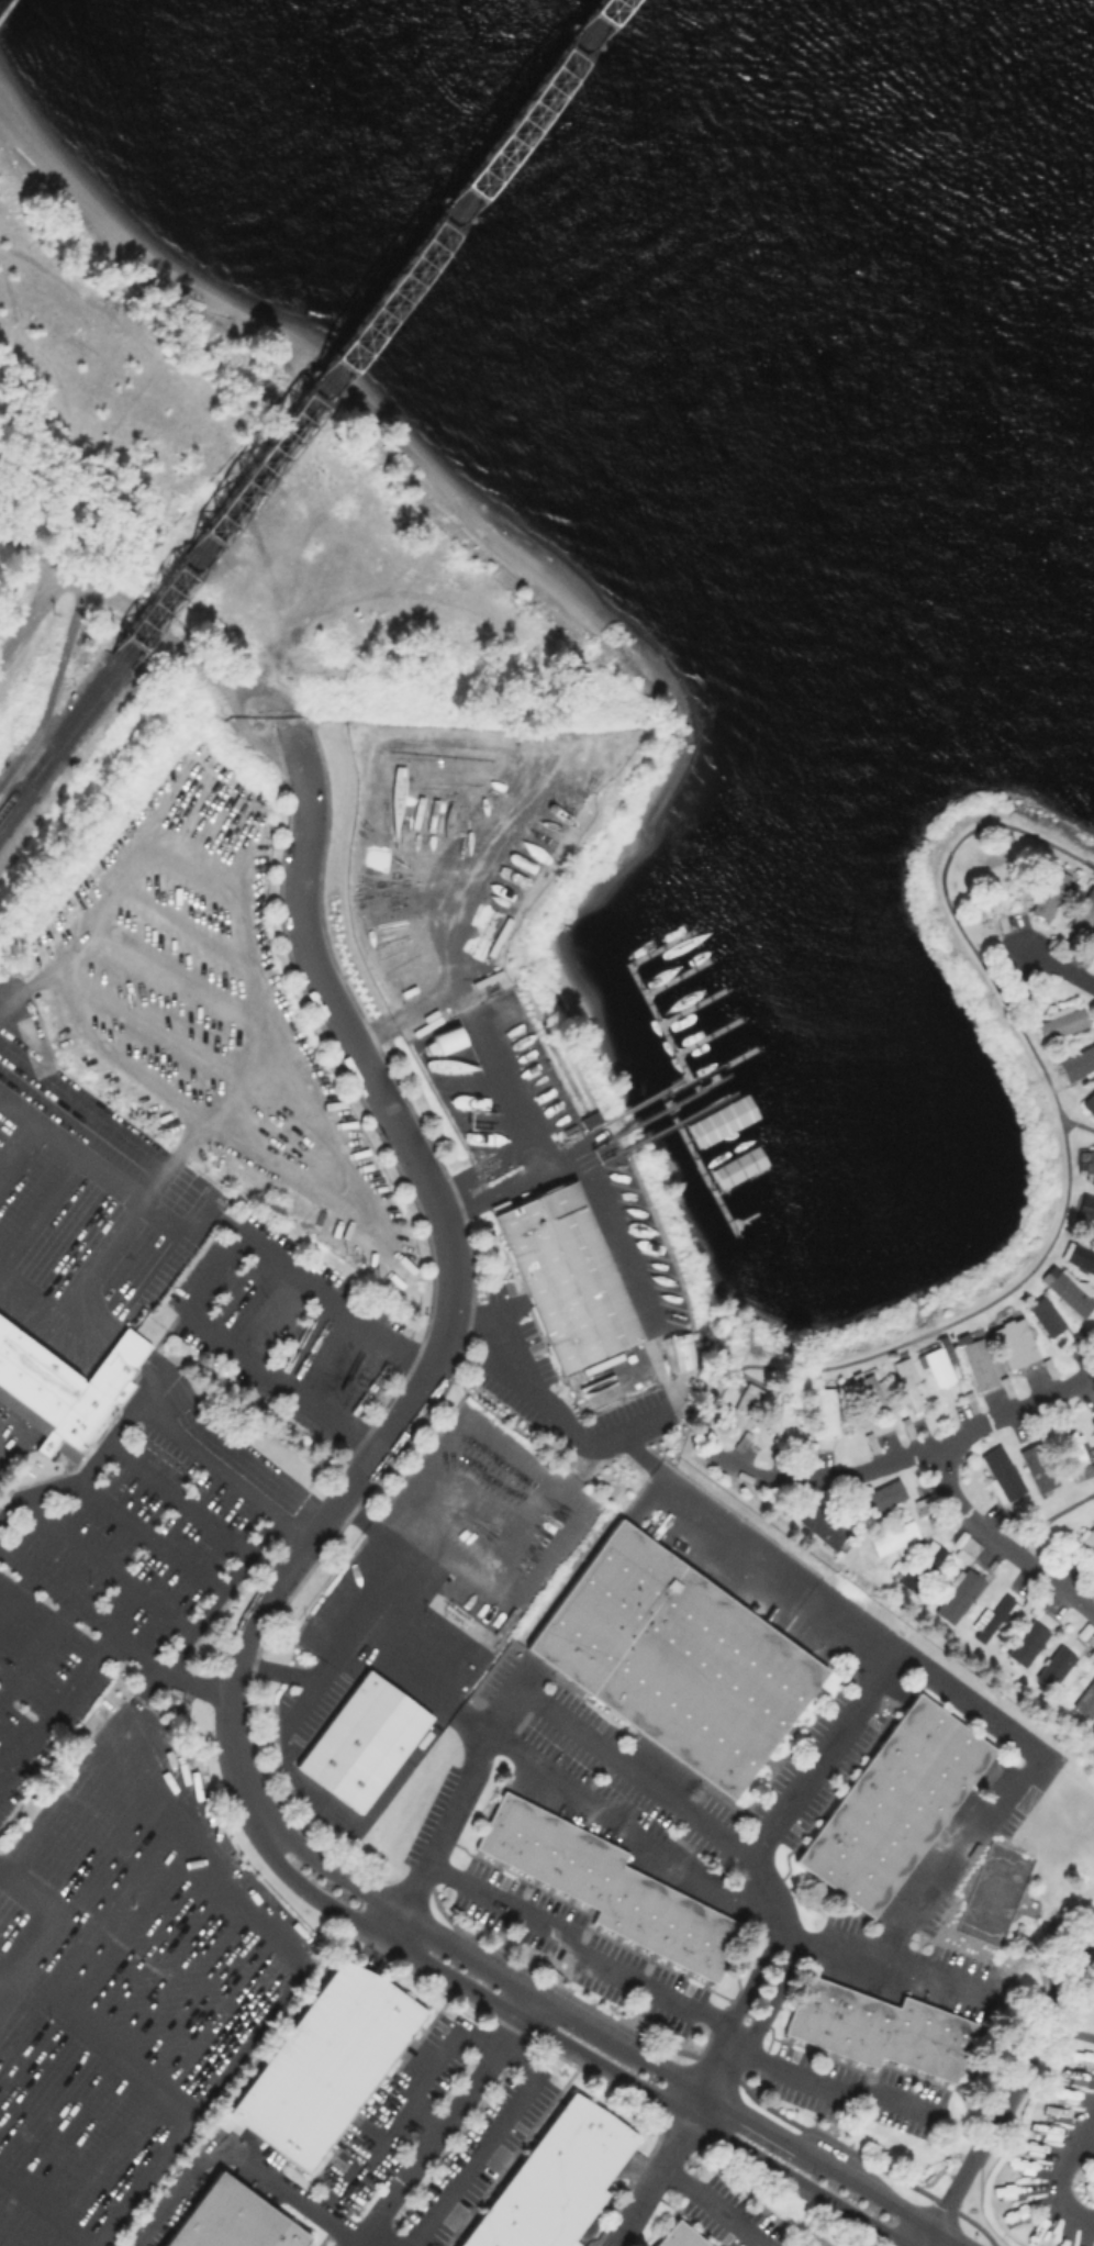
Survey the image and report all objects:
railway: (359, 327)
railway: (369, 330)
road: (34, 603)
road: (155, 626)
road: (53, 688)
railway: (57, 732)
railway: (62, 743)
building: (1049, 892)
road: (950, 913)
building: (1083, 915)
road: (457, 941)
road: (1057, 965)
pier: (676, 975)
pier: (692, 1004)
building: (1061, 1021)
pier: (665, 1030)
pier: (708, 1033)
building: (456, 1045)
building: (1078, 1063)
road: (381, 1094)
pier: (669, 1102)
building: (1089, 1103)
road: (2, 1104)
road: (18, 1110)
pier: (677, 1118)
pier: (676, 1119)
building: (721, 1120)
road: (536, 1142)
building: (1085, 1161)
road: (130, 1193)
building: (1083, 1209)
building: (1078, 1255)
road: (216, 1276)
building: (570, 1277)
building: (1067, 1288)
building: (1046, 1315)
road: (925, 1331)
building: (1014, 1342)
road: (130, 1345)
building: (677, 1353)
building: (939, 1361)
building: (975, 1361)
building: (907, 1382)
building: (869, 1387)
building: (64, 1388)
road: (540, 1402)
building: (743, 1402)
road: (1016, 1406)
building: (825, 1410)
road: (150, 1413)
building: (781, 1421)
building: (1091, 1422)
road: (226, 1444)
building: (1079, 1454)
building: (1037, 1467)
building: (1001, 1474)
road: (837, 1479)
building: (881, 1496)
road: (1049, 1516)
building: (824, 1525)
building: (893, 1536)
building: (1087, 1538)
road: (998, 1542)
building: (922, 1566)
road: (790, 1567)
building: (958, 1595)
building: (994, 1616)
road: (371, 1619)
road: (254, 1620)
road: (111, 1631)
building: (1027, 1643)
building: (1091, 1655)
building: (680, 1661)
building: (1057, 1666)
building: (1085, 1702)
road: (55, 1705)
building: (369, 1742)
road: (613, 1752)
road: (828, 1754)
road: (85, 1774)
building: (892, 1803)
road: (622, 1830)
road: (983, 1830)
road: (763, 1877)
building: (610, 1887)
road: (304, 1889)
road: (2, 1972)
road: (930, 1976)
road: (677, 1998)
road: (524, 2020)
building: (878, 2028)
road: (1067, 2028)
road: (619, 2042)
road: (107, 2053)
building: (325, 2060)
road: (1019, 2078)
road: (451, 2116)
road: (1086, 2137)
road: (484, 2142)
road: (243, 2158)
road: (659, 2169)
road: (1059, 2170)
building: (551, 2180)
road: (796, 2182)
building: (1000, 2192)
road: (712, 2204)
road: (48, 2209)
building: (1015, 2212)
building: (231, 2219)
building: (685, 2235)
road: (929, 2236)
road: (368, 2244)
road: (373, 2244)

